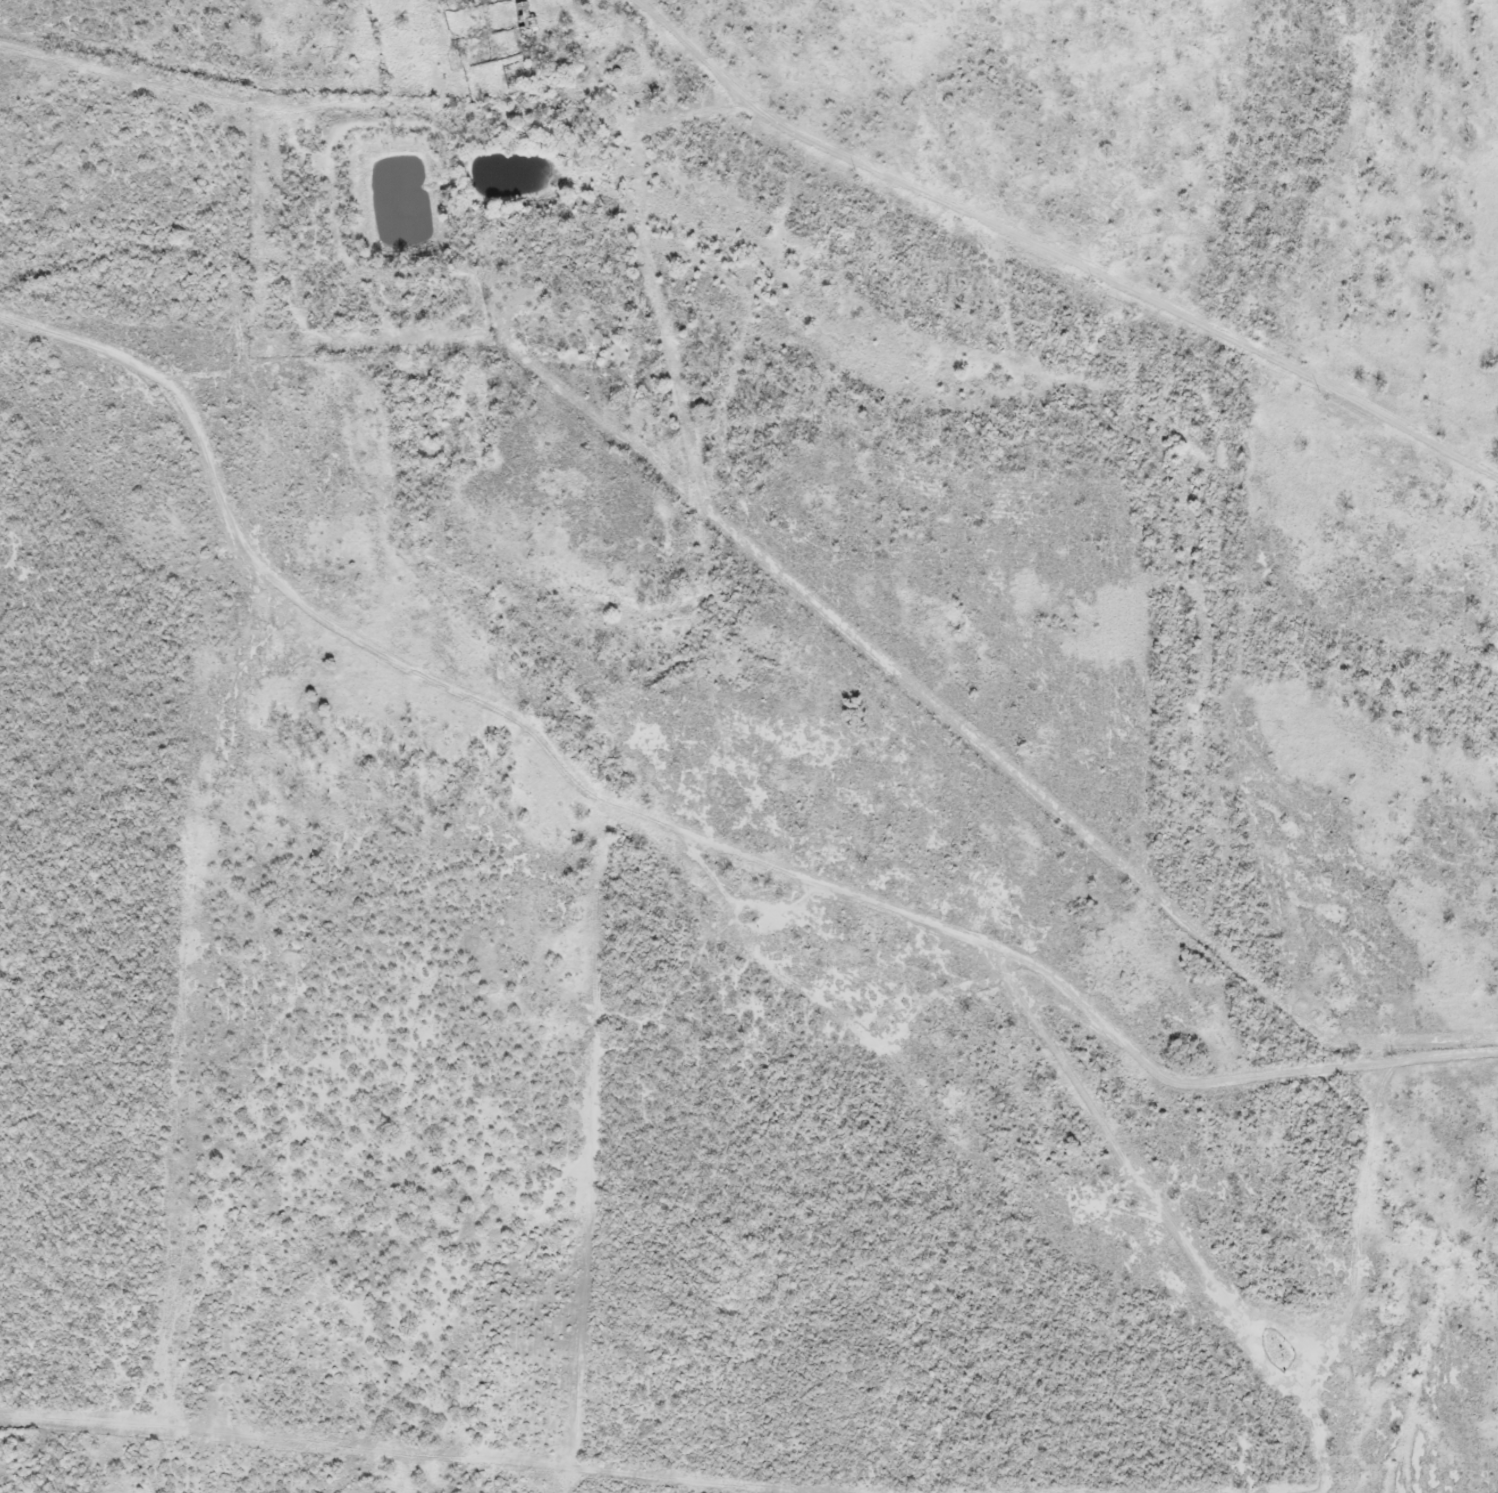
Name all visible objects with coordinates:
building: (525, 17)
building: (636, 70)
building: (576, 90)
road: (1047, 263)

